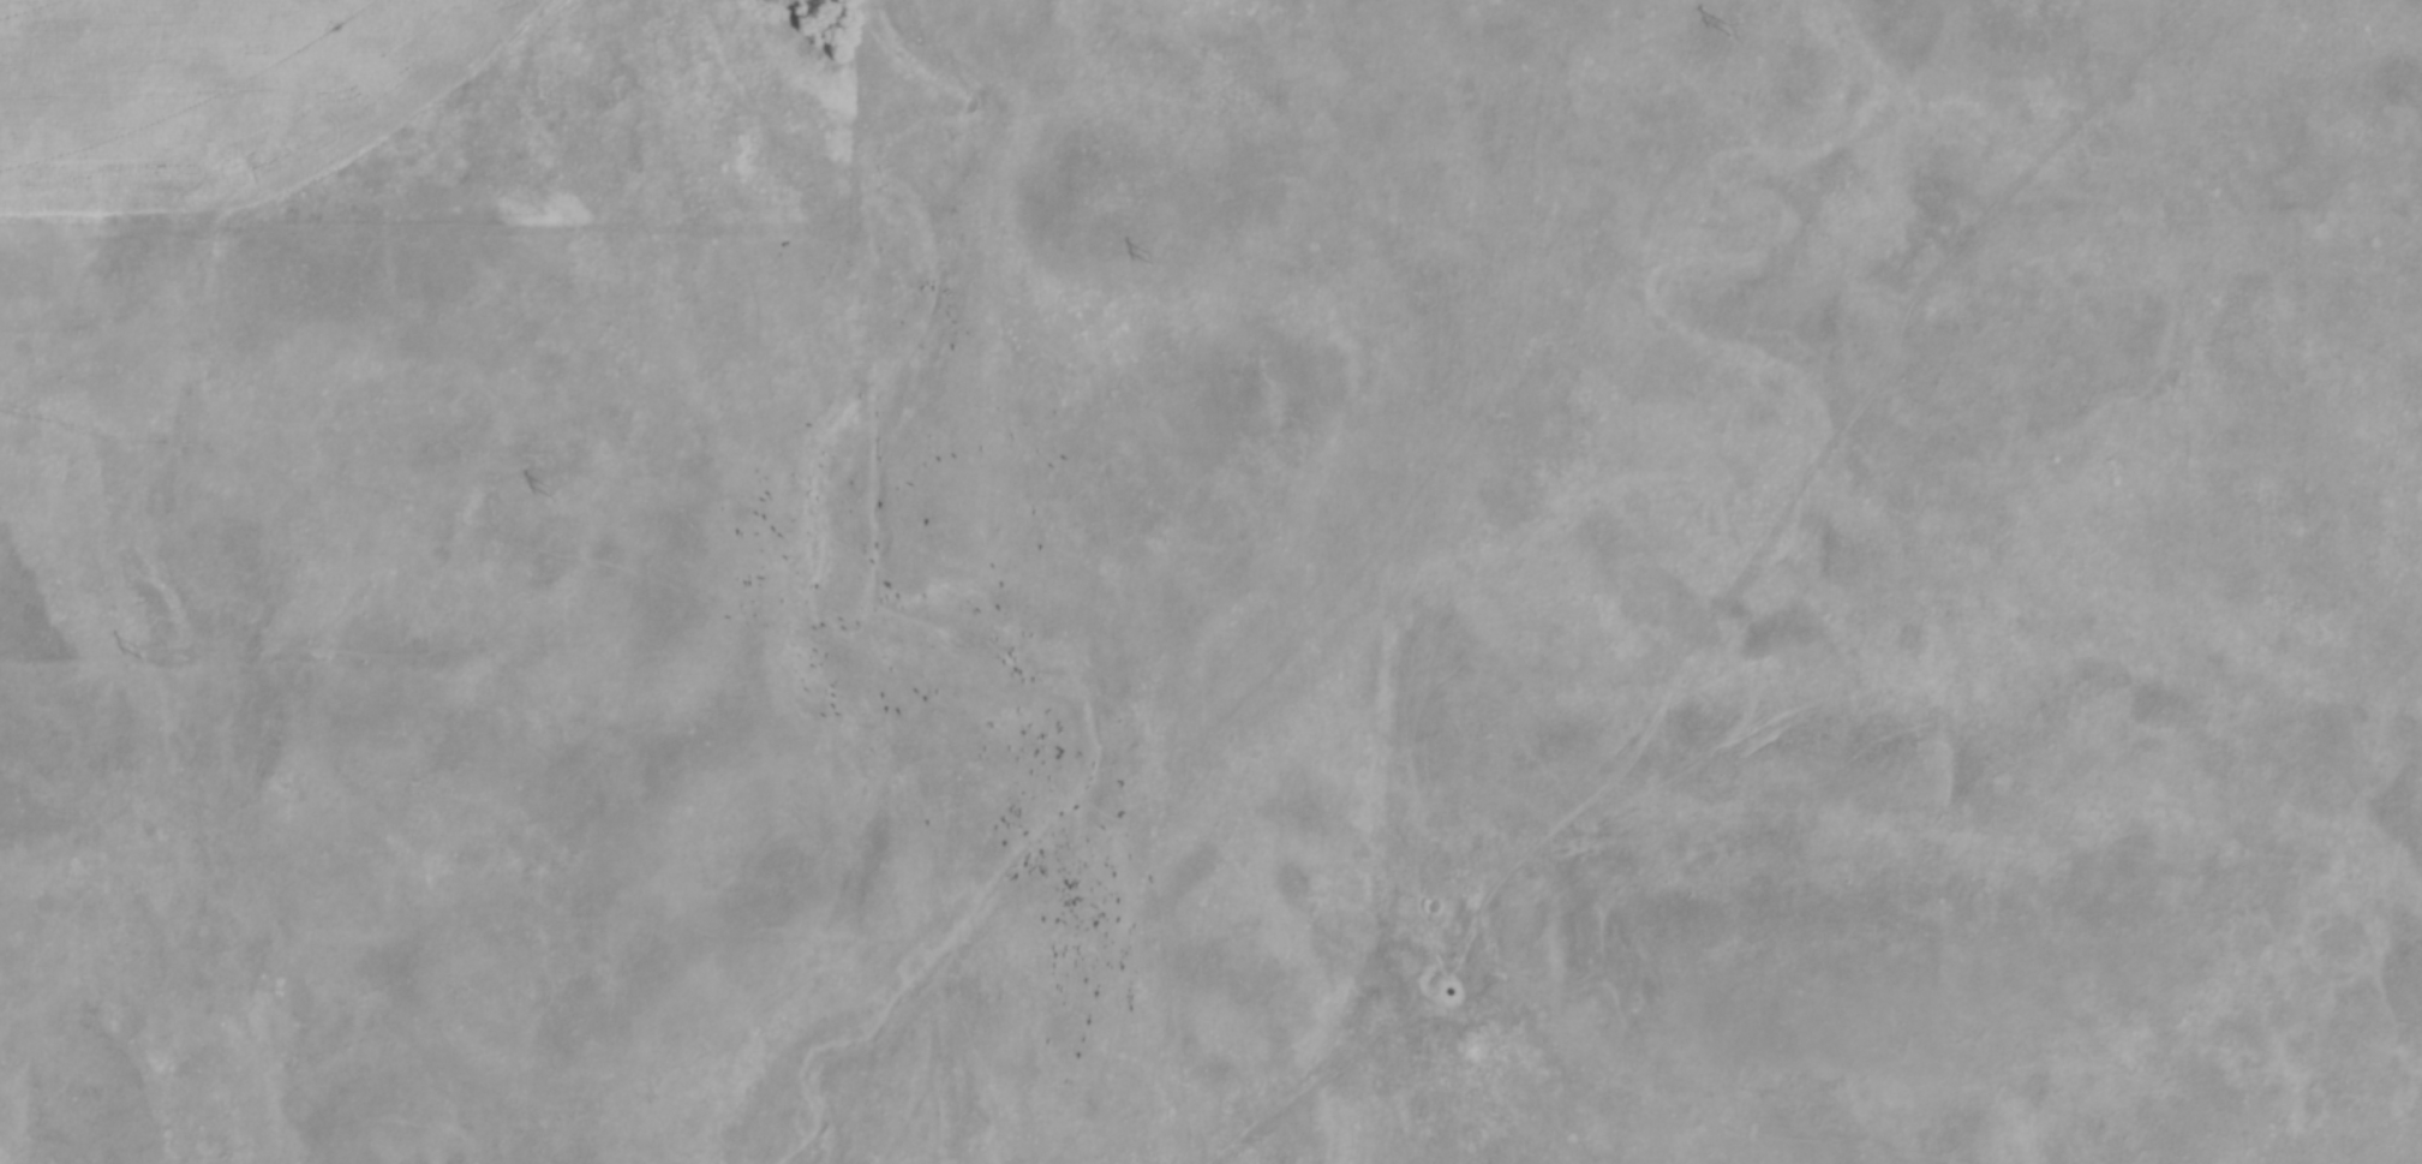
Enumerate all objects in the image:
power tower: (1726, 31)
power tower: (1147, 259)
power tower: (548, 494)
power tower: (136, 653)

